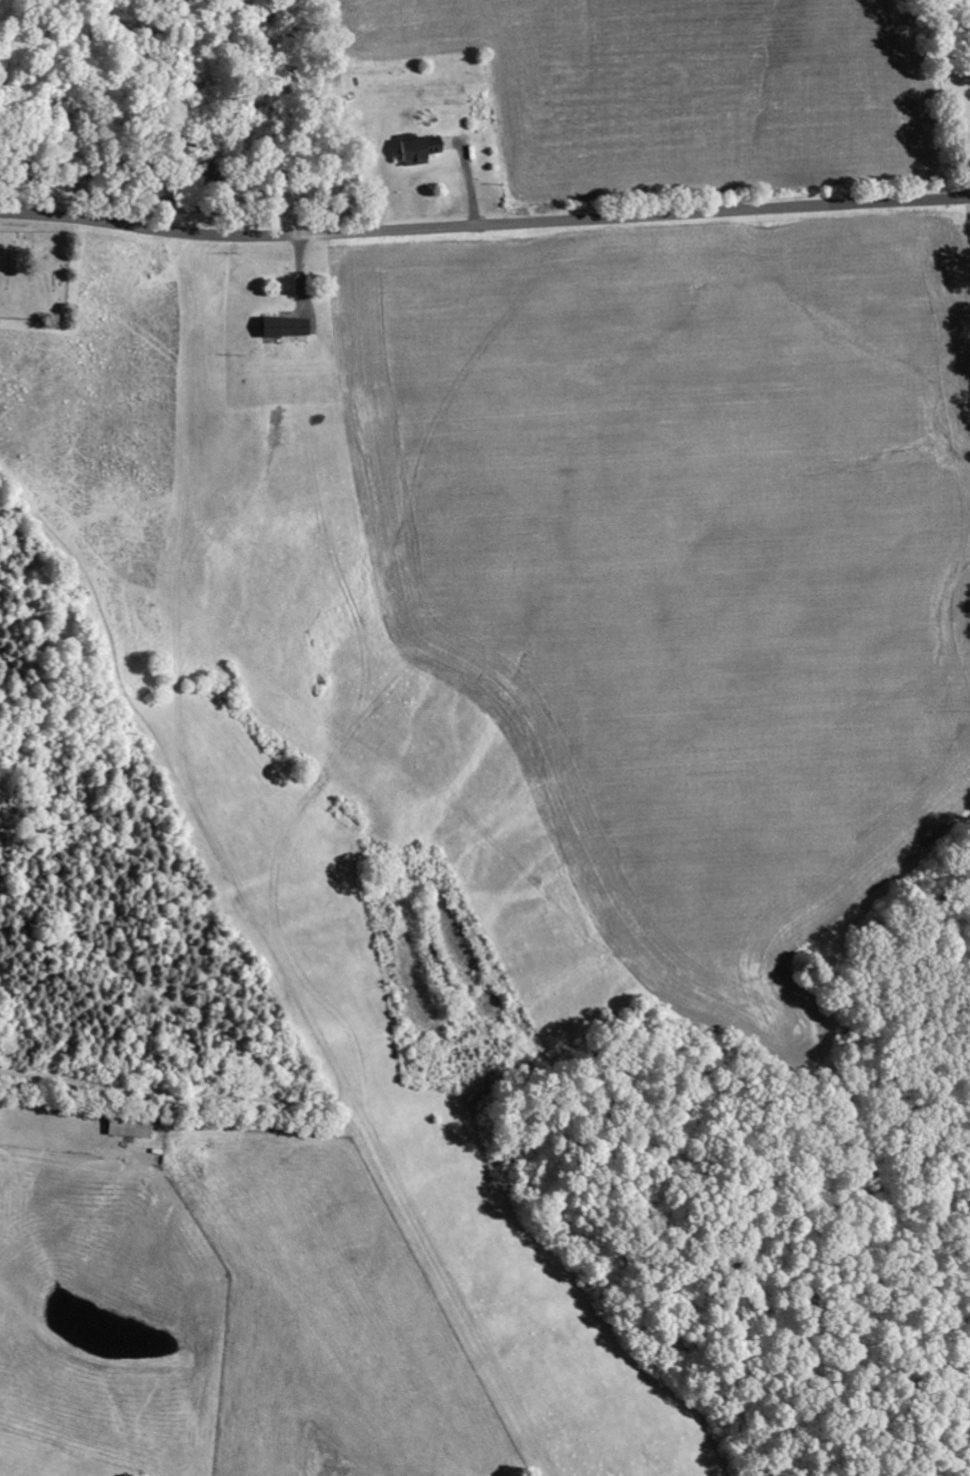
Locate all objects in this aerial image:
building: (424, 148)
road: (484, 227)
park: (35, 273)
building: (289, 327)
road: (216, 639)
building: (133, 1127)

